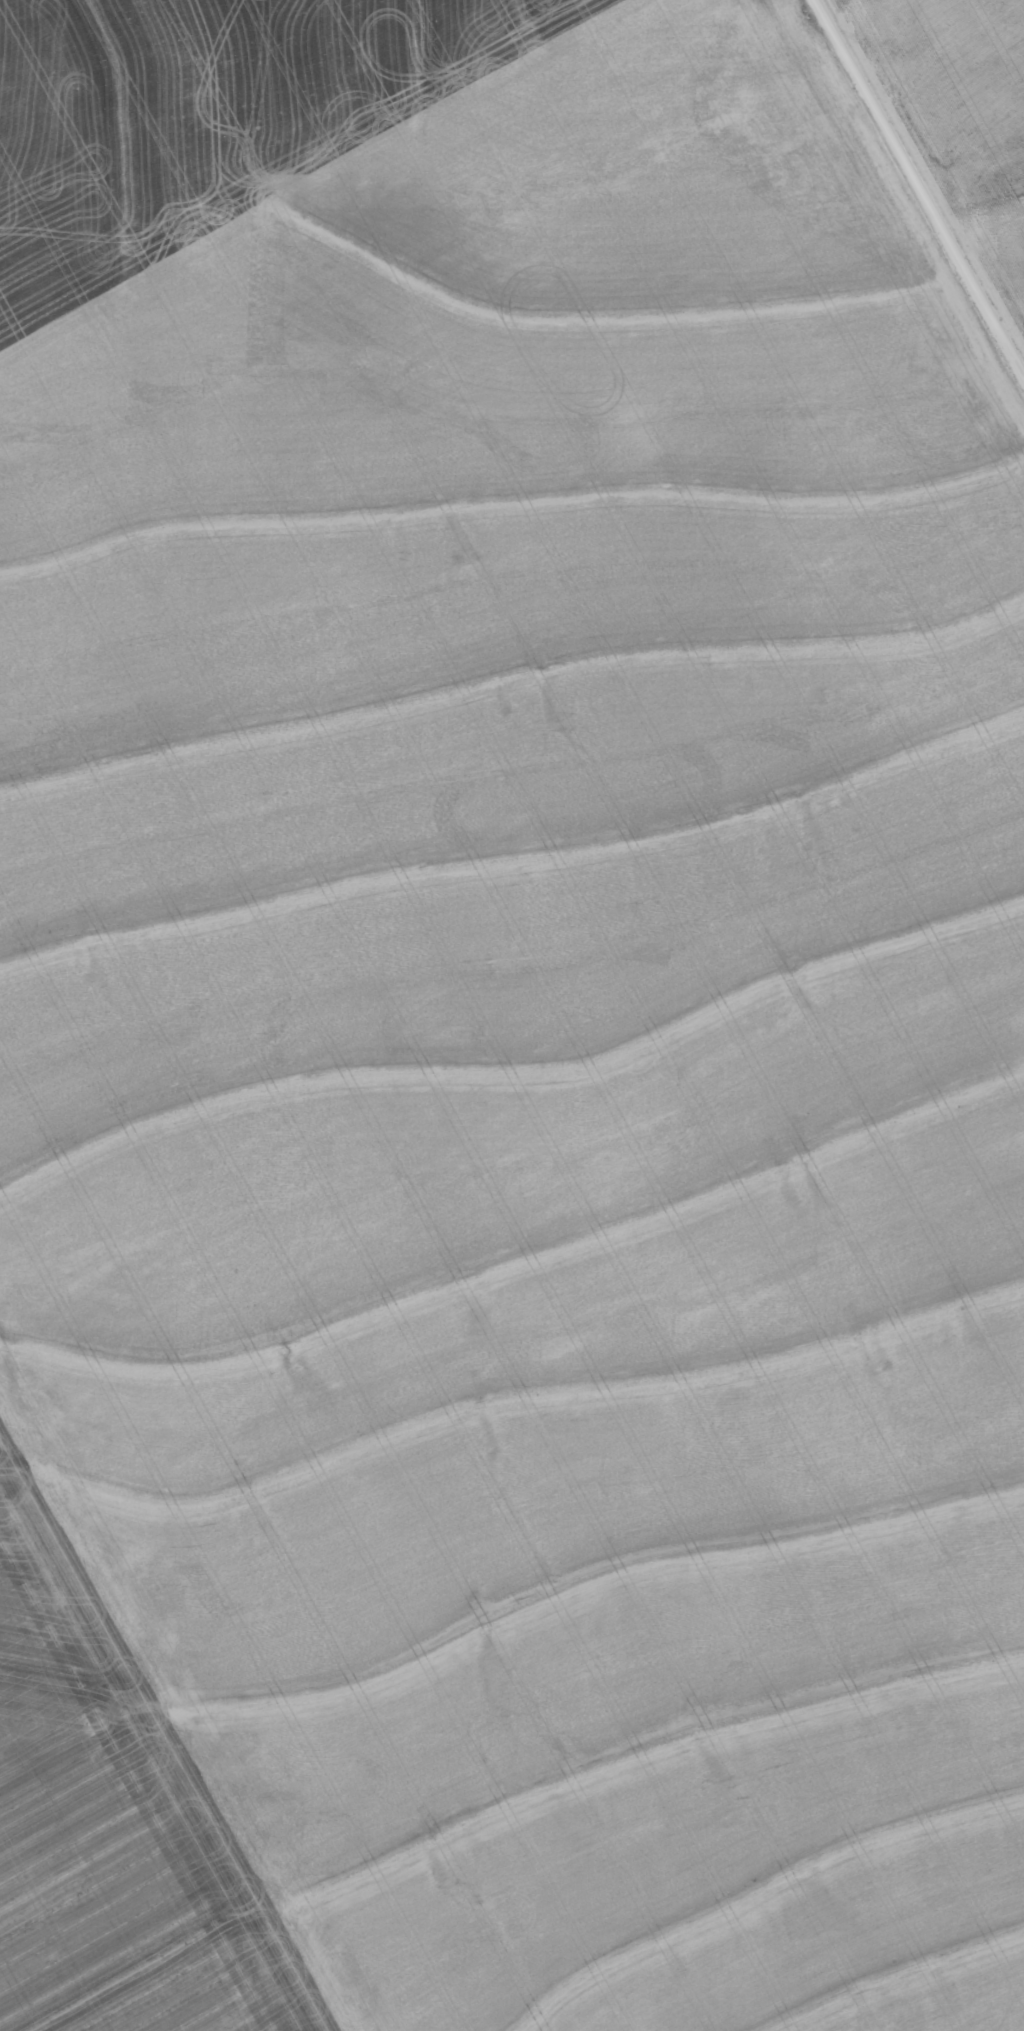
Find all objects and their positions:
road: (923, 180)

